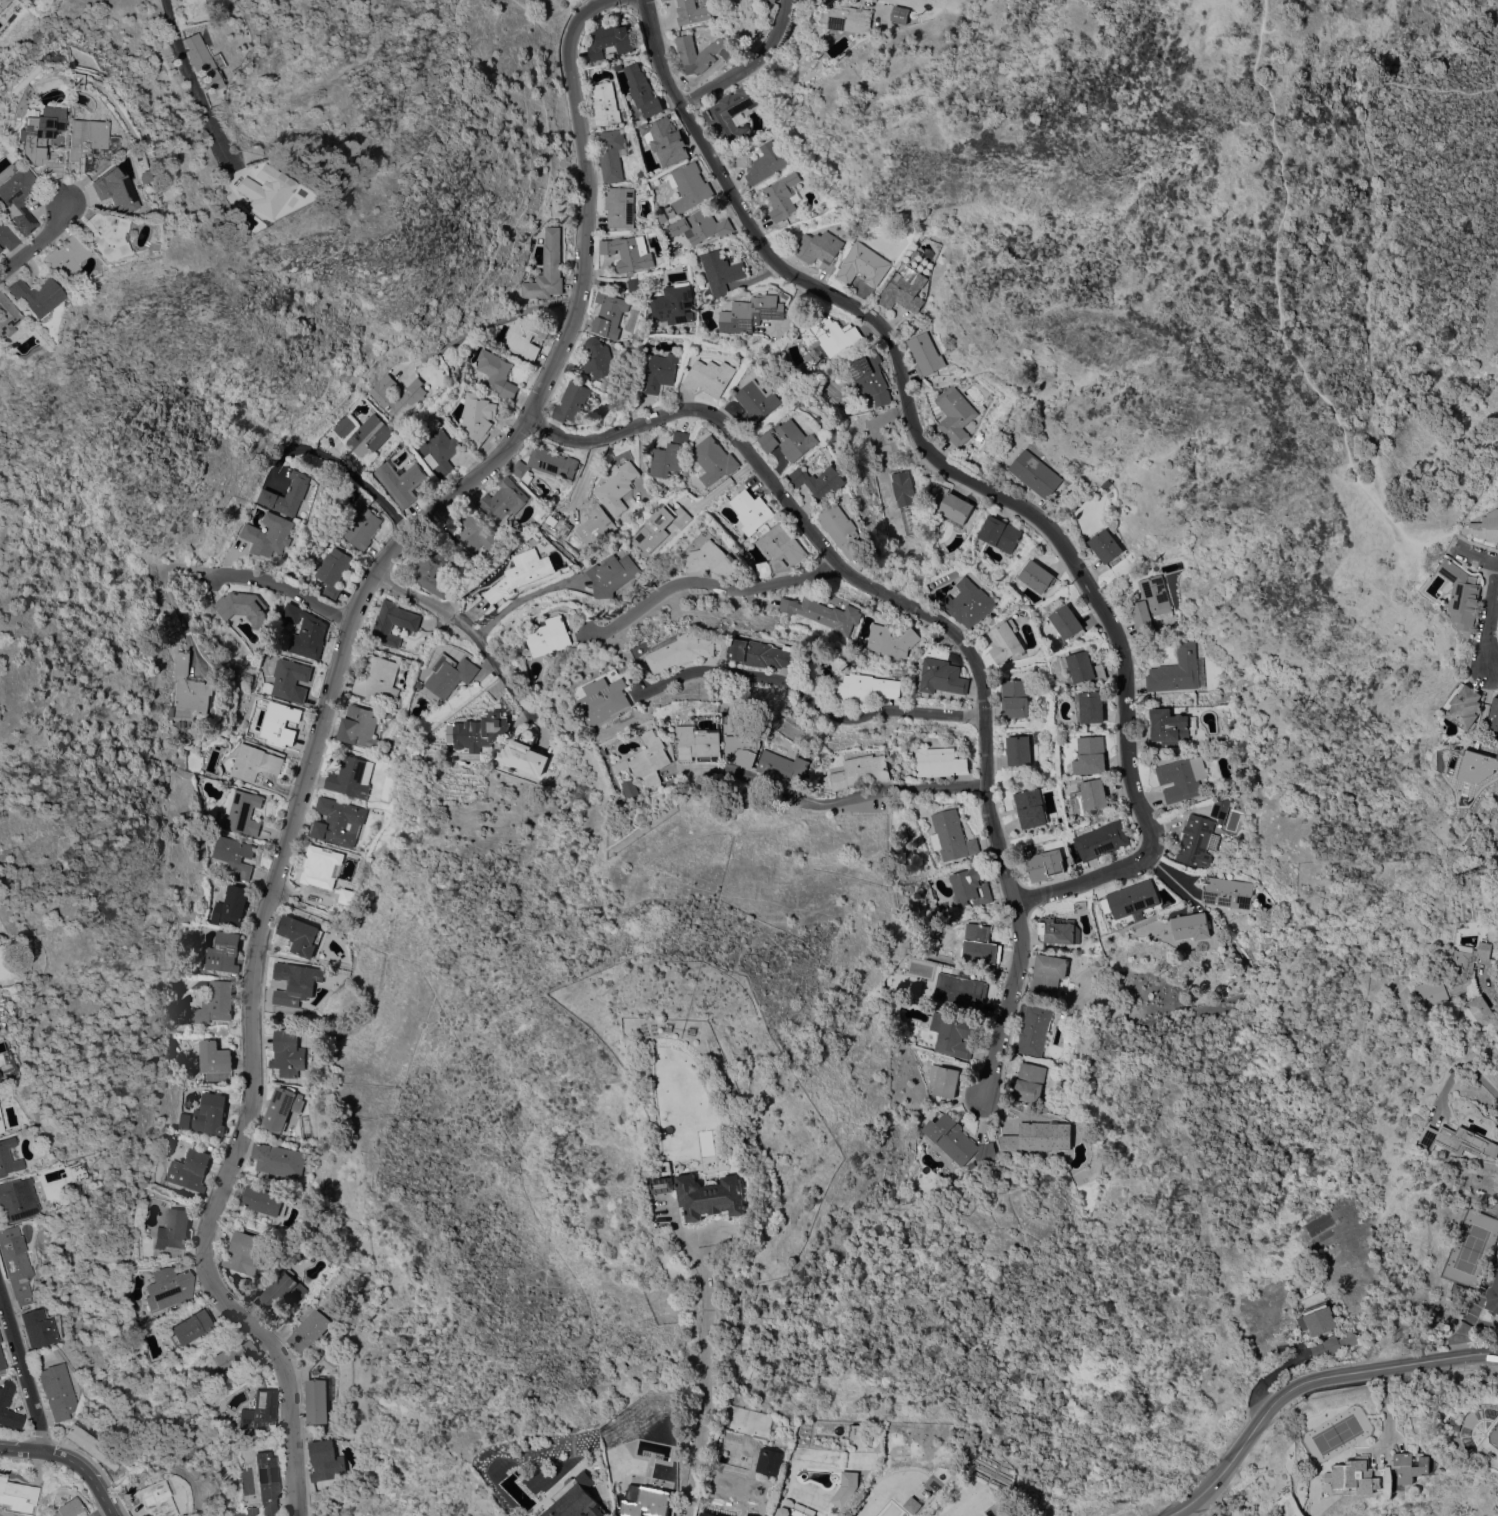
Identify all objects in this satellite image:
building: (662, 0)
building: (666, 0)
building: (772, 0)
building: (4, 4)
building: (692, 11)
building: (899, 13)
building: (848, 18)
building: (610, 40)
road: (179, 45)
building: (701, 52)
building: (201, 62)
road: (749, 62)
building: (642, 90)
building: (604, 105)
building: (732, 115)
building: (37, 130)
building: (665, 141)
building: (87, 142)
building: (611, 153)
building: (739, 158)
building: (765, 163)
building: (141, 176)
building: (689, 186)
building: (111, 189)
building: (264, 189)
building: (782, 196)
building: (16, 199)
building: (620, 206)
building: (661, 216)
road: (1388, 221)
building: (700, 226)
building: (103, 234)
building: (860, 235)
building: (5, 237)
road: (37, 237)
building: (820, 249)
building: (628, 252)
building: (62, 257)
building: (862, 264)
building: (547, 268)
building: (721, 271)
building: (635, 284)
building: (904, 289)
building: (784, 294)
building: (33, 295)
building: (675, 304)
building: (751, 313)
road: (1278, 313)
building: (610, 314)
building: (7, 316)
road: (488, 322)
building: (833, 335)
building: (526, 337)
building: (925, 353)
building: (682, 354)
building: (597, 358)
building: (661, 372)
building: (497, 373)
building: (710, 376)
building: (871, 378)
building: (403, 394)
building: (571, 401)
building: (756, 403)
building: (955, 414)
building: (478, 417)
building: (365, 434)
building: (789, 439)
building: (438, 450)
building: (669, 455)
building: (617, 460)
building: (712, 460)
road: (342, 461)
building: (552, 462)
building: (522, 471)
building: (1036, 473)
road: (960, 475)
building: (401, 481)
building: (820, 482)
building: (616, 488)
building: (903, 488)
building: (288, 494)
building: (503, 500)
building: (956, 507)
building: (752, 510)
building: (557, 526)
building: (1486, 526)
building: (361, 527)
building: (597, 527)
building: (659, 527)
building: (841, 529)
building: (472, 531)
road: (811, 532)
building: (1000, 533)
building: (269, 534)
building: (1105, 545)
building: (781, 550)
road: (1474, 553)
building: (710, 556)
building: (434, 570)
building: (333, 571)
road: (220, 573)
building: (520, 574)
building: (611, 574)
building: (1037, 576)
road: (707, 583)
building: (1463, 595)
road: (523, 597)
building: (969, 602)
building: (1150, 602)
building: (244, 608)
building: (825, 613)
road: (1489, 614)
building: (1067, 621)
building: (393, 622)
road: (466, 628)
building: (306, 632)
building: (550, 636)
building: (891, 640)
building: (1005, 641)
building: (680, 650)
building: (763, 653)
building: (1083, 668)
building: (1177, 670)
building: (448, 675)
building: (942, 676)
building: (289, 677)
building: (378, 679)
building: (867, 685)
building: (193, 686)
road: (809, 691)
building: (1015, 698)
building: (604, 700)
building: (1090, 706)
building: (1469, 707)
building: (389, 713)
building: (1495, 717)
building: (281, 722)
building: (358, 724)
road: (321, 725)
building: (1169, 725)
building: (478, 731)
building: (698, 742)
building: (743, 748)
building: (1019, 750)
building: (523, 754)
building: (1091, 755)
building: (650, 757)
building: (940, 761)
building: (255, 762)
building: (1478, 765)
building: (784, 768)
building: (861, 771)
building: (350, 776)
building: (1182, 778)
building: (630, 788)
building: (1089, 797)
road: (821, 804)
building: (1031, 808)
building: (1221, 809)
building: (240, 812)
building: (337, 821)
building: (951, 836)
building: (1101, 839)
road: (998, 841)
building: (1195, 841)
building: (234, 855)
building: (1046, 864)
building: (323, 870)
building: (969, 887)
building: (1227, 892)
building: (1130, 898)
building: (231, 906)
building: (1191, 926)
building: (1058, 929)
building: (301, 935)
building: (980, 944)
building: (933, 946)
building: (223, 952)
building: (1048, 972)
building: (1453, 974)
building: (298, 979)
building: (960, 990)
building: (214, 1003)
road: (1013, 1003)
building: (1480, 1010)
building: (1034, 1030)
building: (954, 1034)
building: (288, 1053)
building: (215, 1057)
road: (1465, 1068)
building: (943, 1078)
building: (1029, 1082)
building: (281, 1107)
building: (210, 1114)
building: (1, 1127)
building: (1037, 1137)
building: (956, 1140)
building: (1461, 1142)
building: (8, 1156)
building: (277, 1159)
building: (189, 1169)
building: (70, 1171)
building: (664, 1184)
building: (711, 1195)
building: (16, 1200)
building: (264, 1201)
building: (174, 1229)
building: (247, 1253)
building: (14, 1264)
building: (168, 1287)
building: (281, 1291)
building: (1493, 1297)
building: (1320, 1319)
building: (39, 1327)
building: (191, 1327)
building: (309, 1330)
building: (0, 1340)
building: (1340, 1342)
building: (234, 1355)
building: (2, 1361)
road: (1274, 1373)
road: (23, 1374)
road: (703, 1374)
road: (1305, 1382)
building: (56, 1390)
building: (316, 1400)
building: (5, 1403)
building: (260, 1411)
road: (1385, 1413)
building: (1456, 1425)
building: (91, 1447)
road: (71, 1458)
building: (326, 1461)
building: (770, 1461)
building: (1411, 1465)
building: (502, 1466)
building: (1357, 1475)
building: (584, 1478)
building: (267, 1482)
building: (18, 1491)
building: (151, 1499)
building: (644, 1501)
building: (576, 1504)
building: (912, 1505)
building: (70, 1508)
building: (792, 1512)
building: (709, 1514)
building: (744, 1515)

